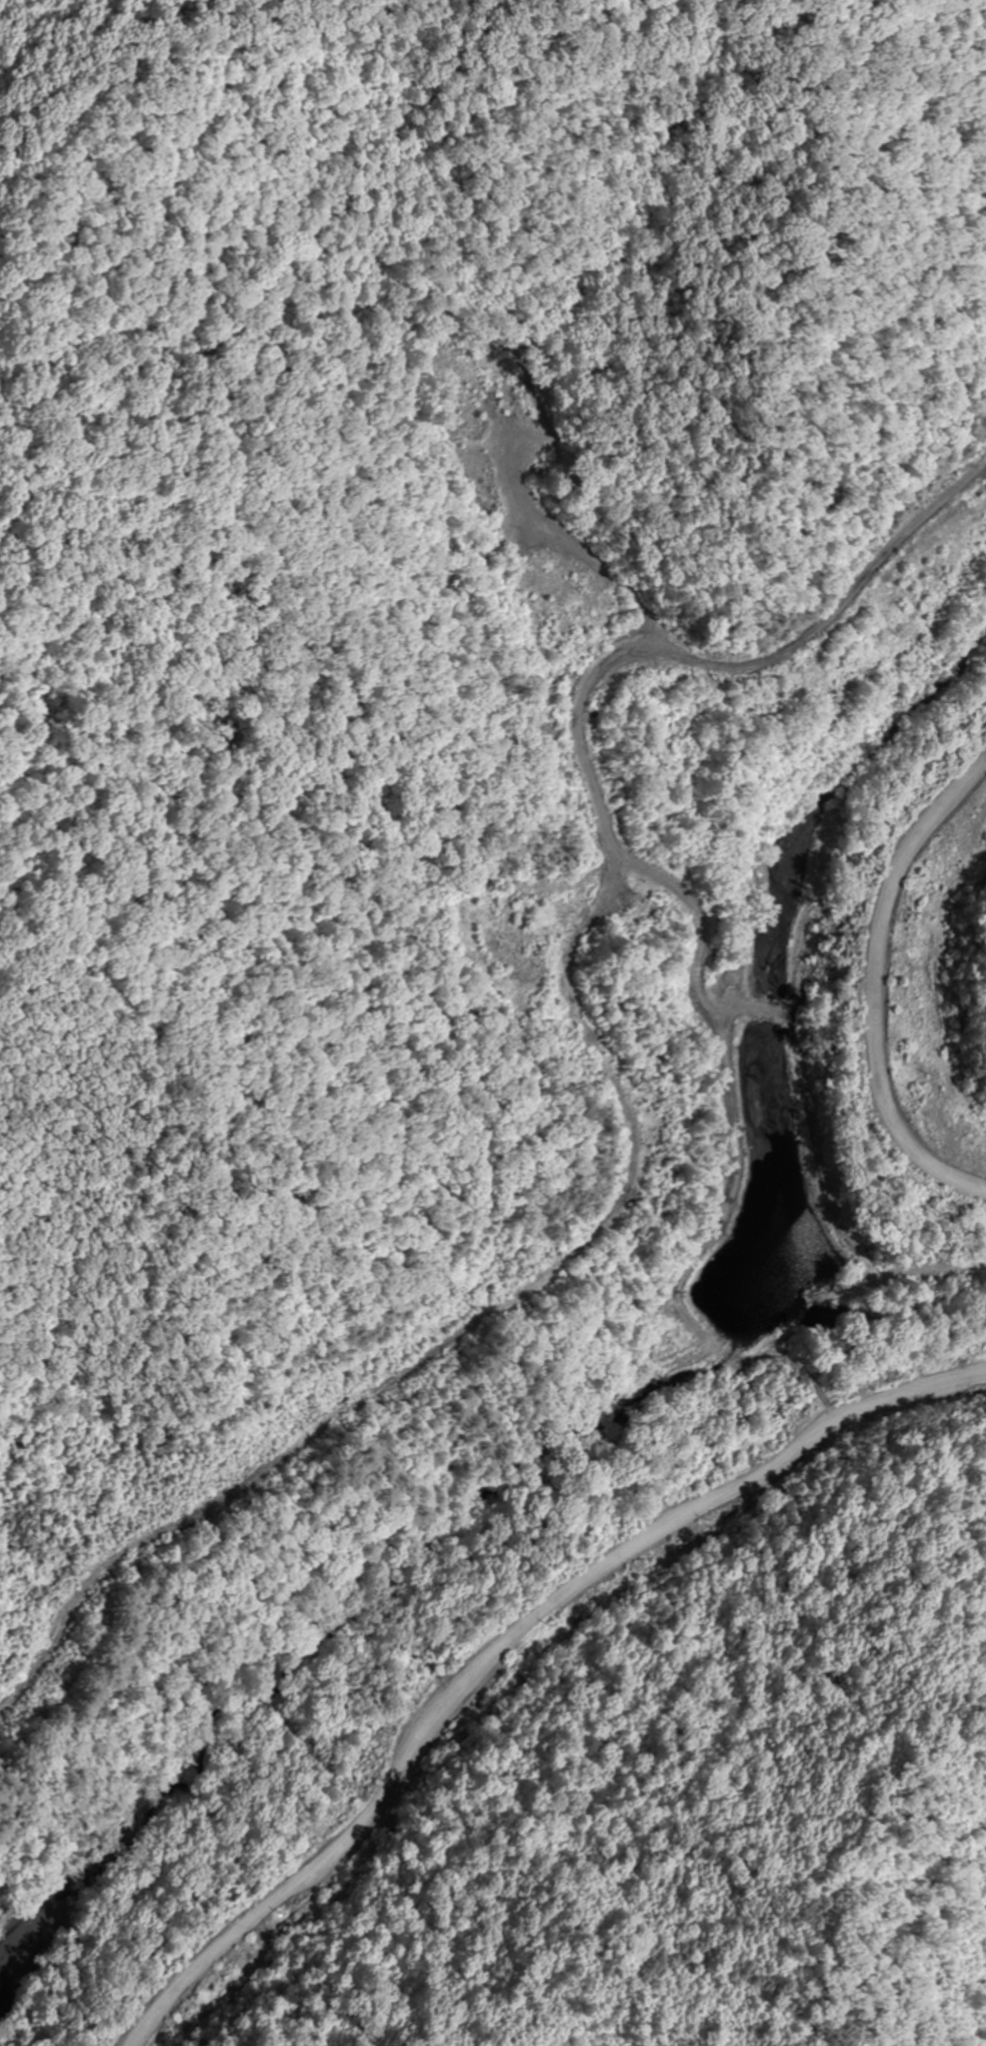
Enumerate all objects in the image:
quarry: (578, 1156)

